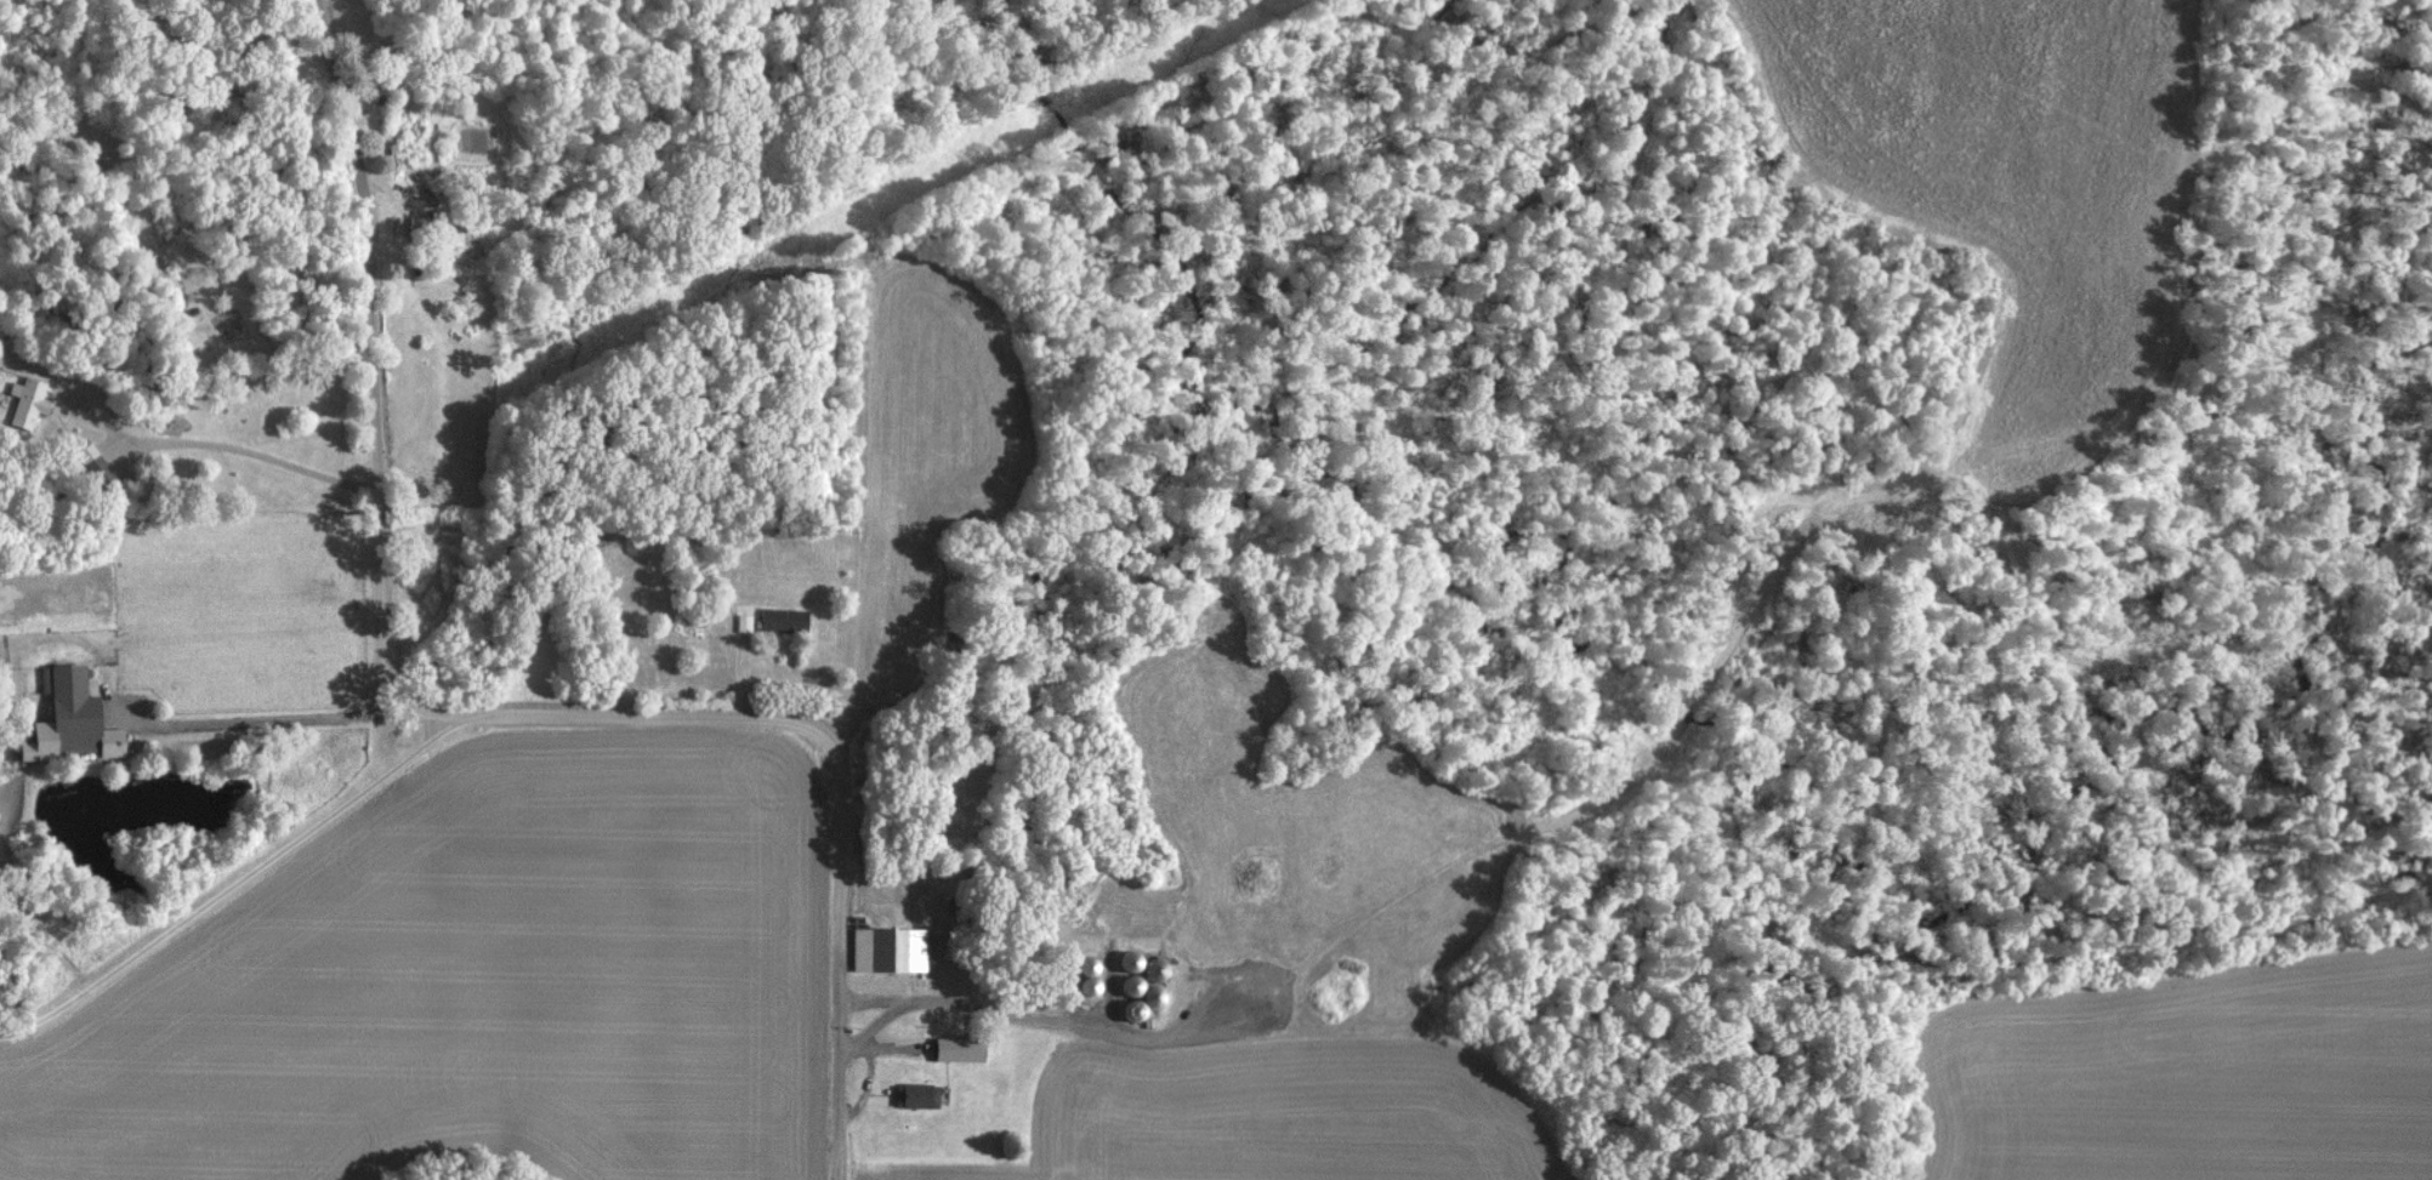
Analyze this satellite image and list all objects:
road: (366, 354)
building: (25, 399)
road: (239, 448)
building: (92, 464)
building: (783, 617)
road: (261, 719)
road: (823, 747)
road: (239, 885)
building: (887, 948)
building: (1086, 968)
building: (1153, 968)
building: (1135, 987)
road: (876, 998)
road: (1046, 1020)
building: (956, 1048)
road: (866, 1078)
building: (915, 1094)

